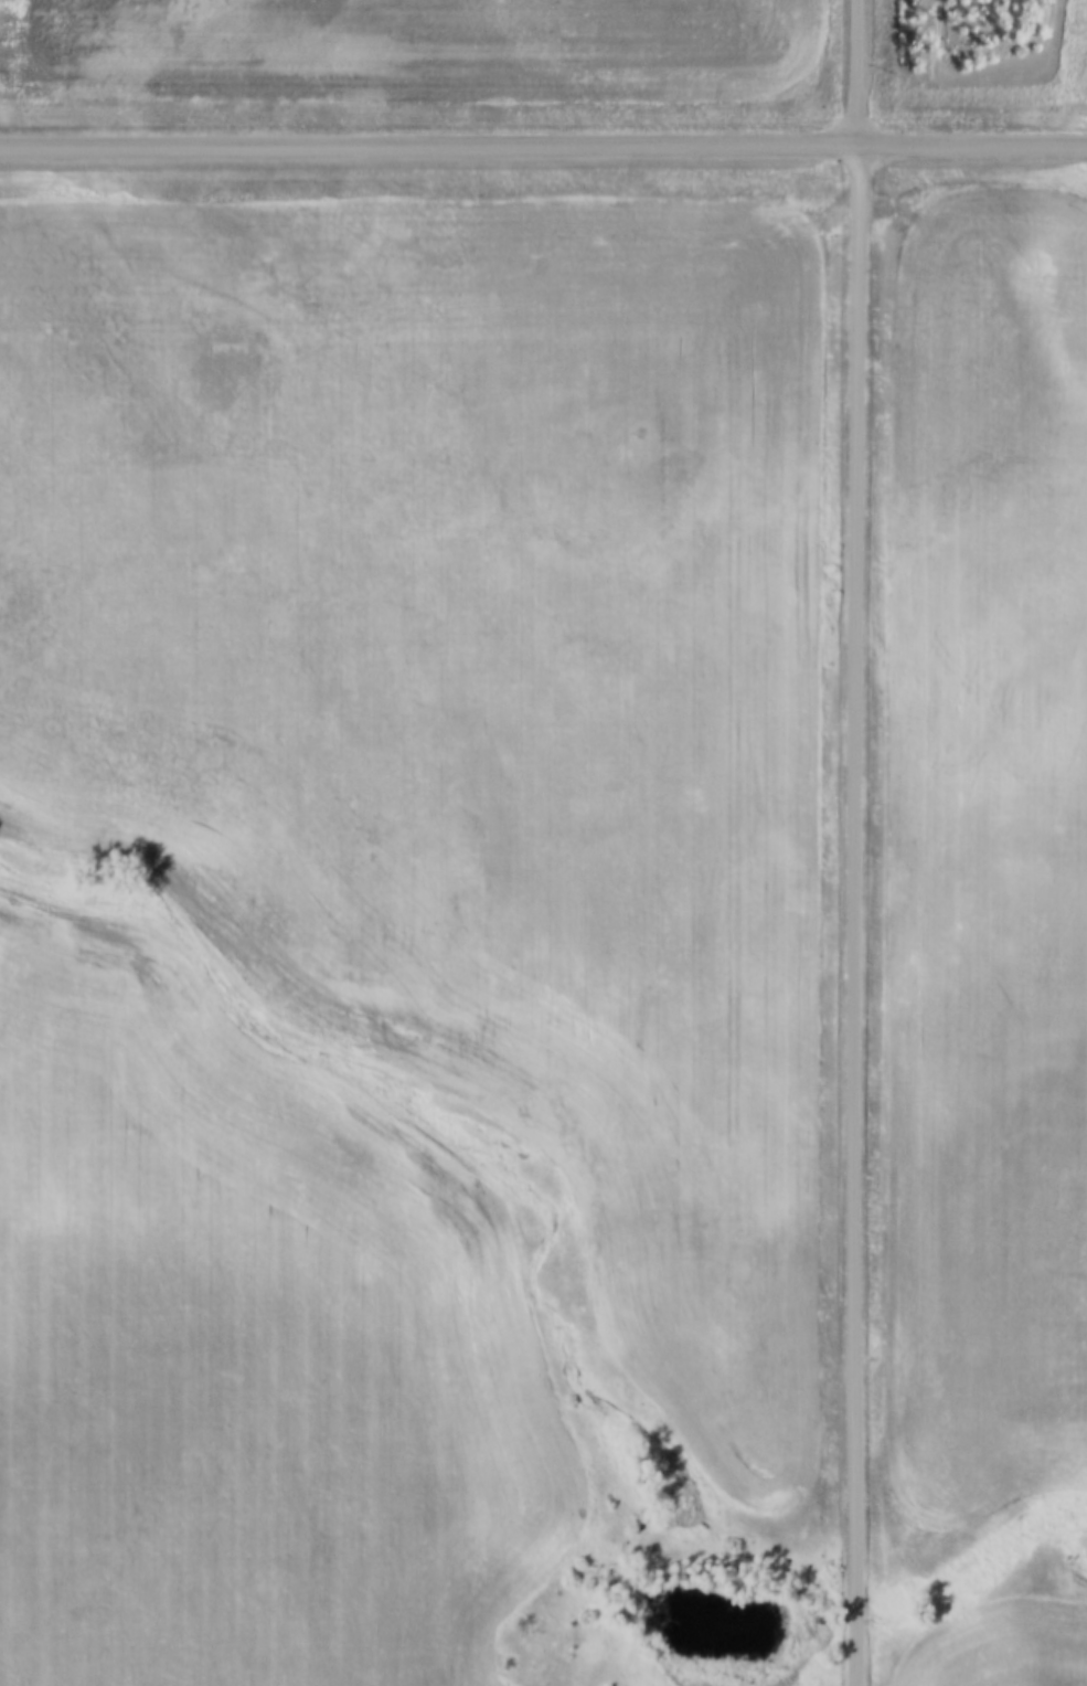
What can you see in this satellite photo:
road: (857, 72)
road: (543, 147)
road: (853, 915)

